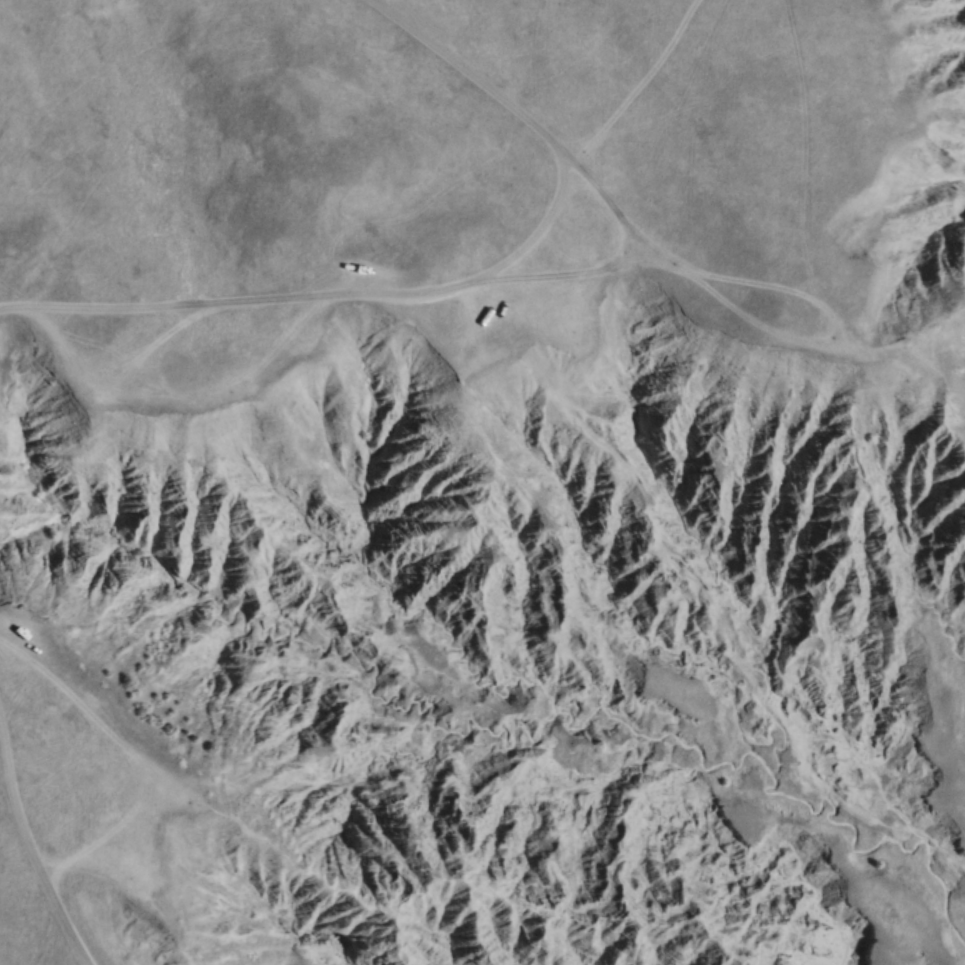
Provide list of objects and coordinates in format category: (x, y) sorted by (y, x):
road: (515, 122)
road: (564, 278)
road: (33, 866)

